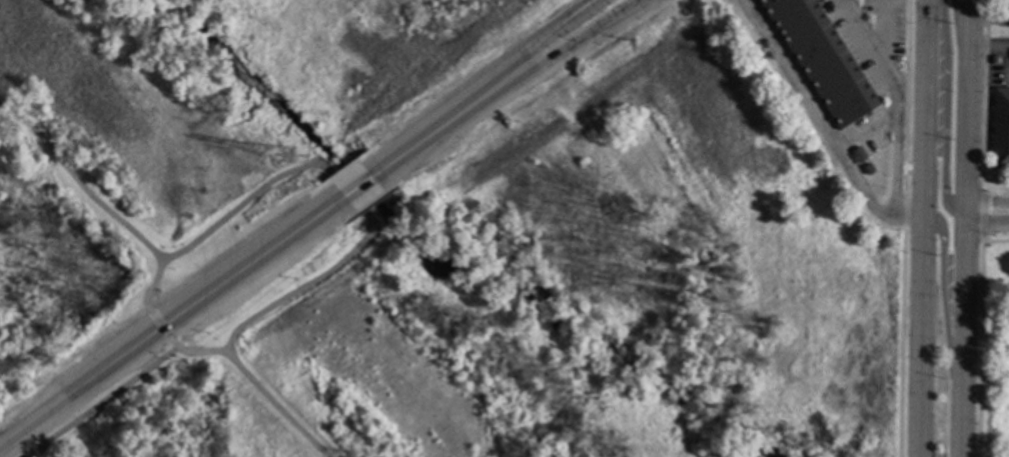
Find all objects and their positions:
building: (1008, 2)
building: (1008, 19)
road: (544, 40)
road: (566, 44)
road: (988, 50)
road: (958, 55)
building: (821, 58)
building: (995, 60)
road: (944, 110)
building: (1001, 127)
road: (436, 128)
road: (846, 142)
building: (858, 155)
road: (893, 163)
building: (869, 170)
road: (355, 186)
road: (869, 195)
road: (348, 198)
road: (95, 201)
road: (986, 211)
road: (920, 228)
road: (962, 228)
park: (426, 245)
river: (420, 250)
road: (941, 288)
road: (165, 321)
road: (158, 323)
park: (992, 346)
road: (254, 383)
road: (100, 402)

